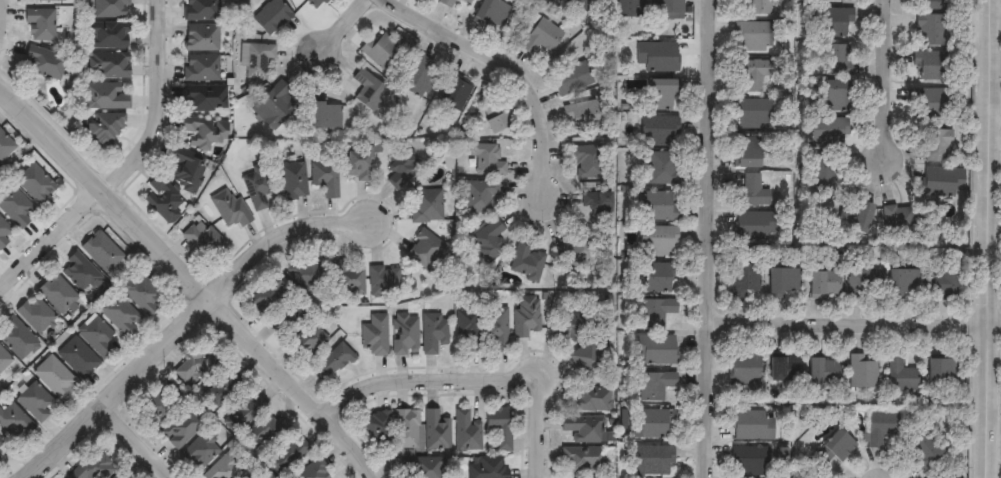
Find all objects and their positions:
building: (835, 0)
building: (51, 1)
building: (467, 1)
building: (544, 1)
building: (446, 2)
building: (316, 3)
building: (930, 5)
building: (582, 6)
building: (758, 7)
building: (632, 8)
building: (110, 9)
building: (201, 10)
building: (669, 10)
building: (492, 14)
building: (270, 17)
building: (834, 22)
building: (40, 24)
road: (337, 26)
building: (929, 29)
building: (108, 35)
building: (753, 36)
building: (540, 37)
building: (200, 38)
building: (380, 50)
building: (657, 56)
building: (255, 59)
building: (838, 59)
building: (44, 64)
building: (930, 64)
building: (108, 65)
building: (200, 68)
road: (503, 69)
building: (753, 75)
building: (418, 76)
building: (571, 76)
road: (890, 81)
building: (367, 90)
building: (452, 94)
building: (660, 95)
building: (836, 96)
building: (103, 97)
building: (204, 98)
building: (930, 100)
road: (159, 103)
building: (273, 105)
building: (753, 114)
building: (324, 116)
building: (581, 117)
building: (495, 118)
building: (103, 129)
building: (658, 131)
building: (203, 132)
building: (828, 133)
building: (938, 145)
building: (5, 147)
building: (747, 153)
building: (486, 160)
building: (587, 160)
building: (357, 165)
building: (400, 167)
building: (662, 168)
building: (184, 169)
building: (828, 174)
building: (324, 178)
building: (292, 181)
building: (943, 182)
building: (35, 185)
building: (256, 189)
building: (752, 191)
building: (479, 196)
building: (162, 200)
building: (597, 204)
building: (426, 206)
building: (660, 206)
building: (15, 207)
building: (229, 208)
building: (853, 214)
building: (899, 221)
building: (752, 226)
building: (4, 234)
road: (710, 238)
road: (991, 238)
road: (53, 241)
building: (202, 241)
building: (657, 241)
building: (488, 242)
building: (424, 250)
building: (101, 252)
building: (525, 259)
building: (79, 273)
building: (306, 275)
road: (193, 277)
building: (658, 277)
building: (347, 278)
building: (746, 279)
building: (383, 282)
building: (783, 283)
building: (902, 283)
building: (822, 284)
building: (864, 284)
building: (944, 284)
building: (57, 295)
building: (142, 295)
building: (268, 296)
building: (653, 313)
building: (119, 315)
building: (525, 315)
building: (35, 316)
road: (179, 321)
building: (572, 322)
road: (854, 323)
building: (466, 329)
building: (495, 329)
building: (433, 332)
building: (375, 335)
building: (404, 335)
building: (98, 337)
building: (16, 339)
building: (306, 342)
building: (655, 350)
building: (77, 358)
building: (3, 361)
building: (588, 361)
building: (331, 363)
building: (745, 366)
building: (784, 369)
building: (941, 371)
building: (822, 372)
building: (861, 373)
building: (202, 374)
building: (899, 374)
building: (54, 378)
road: (470, 379)
building: (655, 385)
building: (590, 400)
building: (33, 403)
building: (158, 407)
building: (241, 412)
building: (13, 424)
building: (651, 425)
building: (752, 425)
building: (376, 426)
building: (498, 427)
building: (880, 427)
building: (406, 429)
building: (178, 430)
building: (436, 431)
building: (263, 432)
building: (466, 432)
building: (581, 432)
road: (136, 438)
building: (0, 444)
building: (835, 448)
building: (923, 450)
building: (200, 452)
building: (287, 455)
building: (0, 457)
building: (582, 460)
building: (750, 460)
building: (654, 461)
building: (422, 467)
building: (223, 468)
building: (487, 468)
building: (313, 471)
building: (117, 475)

